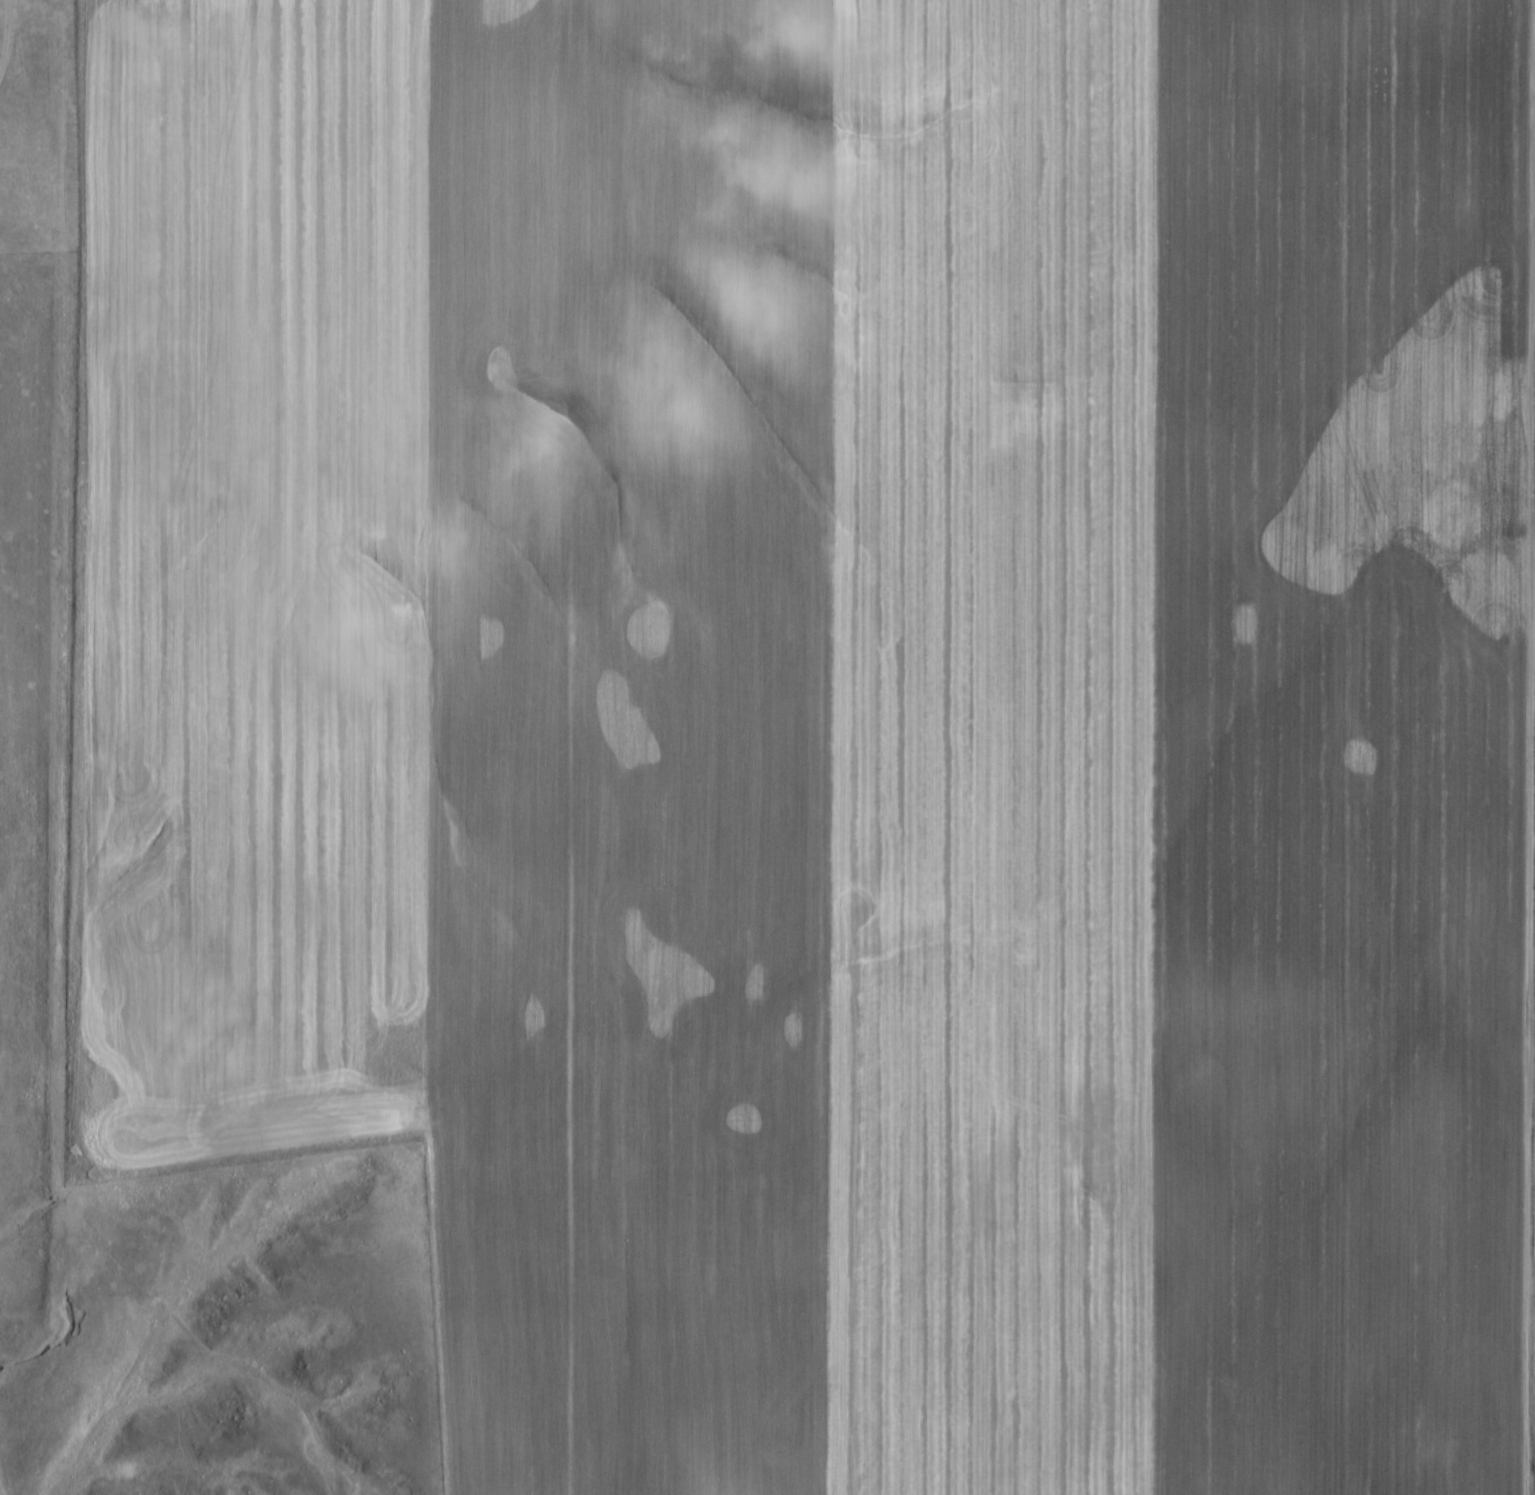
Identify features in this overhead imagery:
road: (1533, 747)

